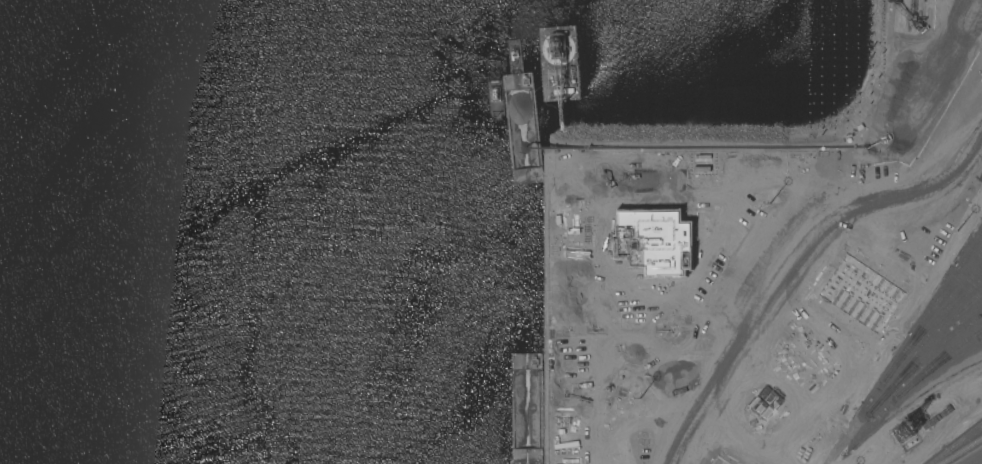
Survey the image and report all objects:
building: (585, 236)
road: (572, 395)
railway: (964, 439)
railway: (957, 444)
railway: (962, 451)

